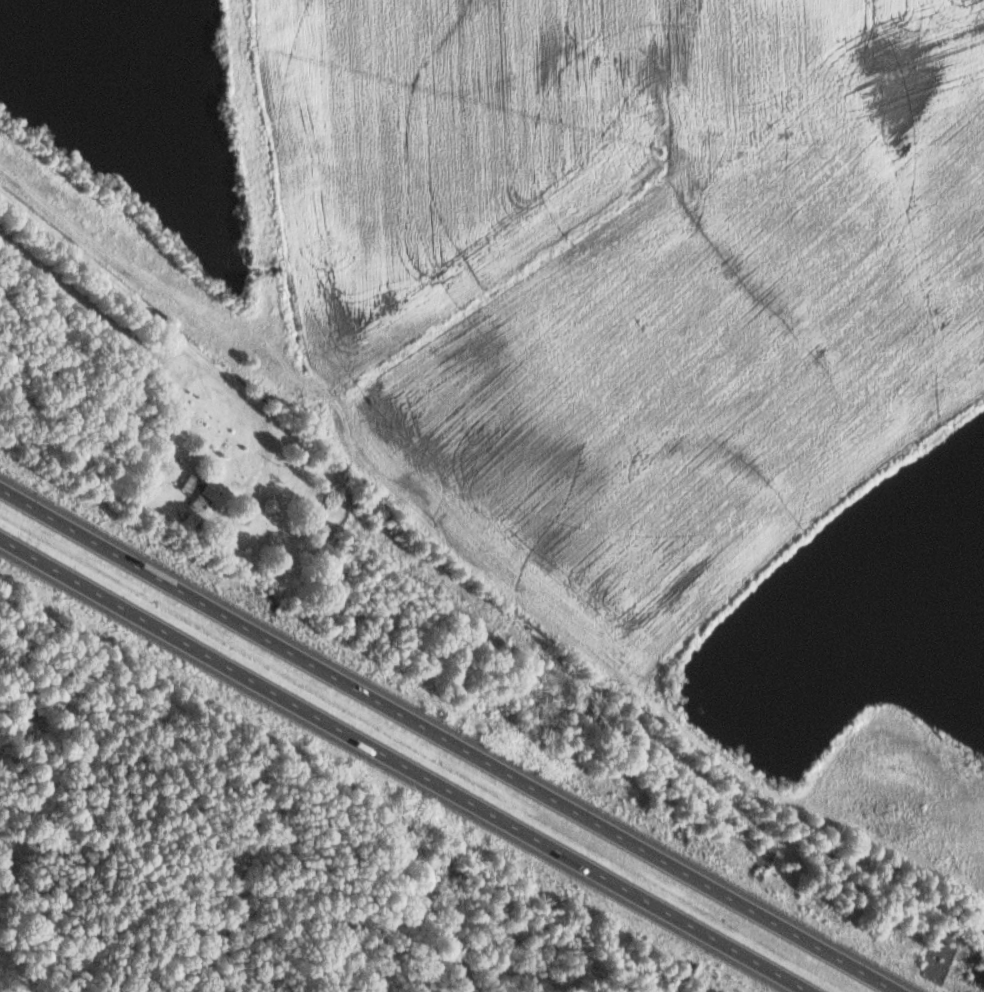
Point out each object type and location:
road: (126, 297)
road: (445, 740)
road: (401, 765)

